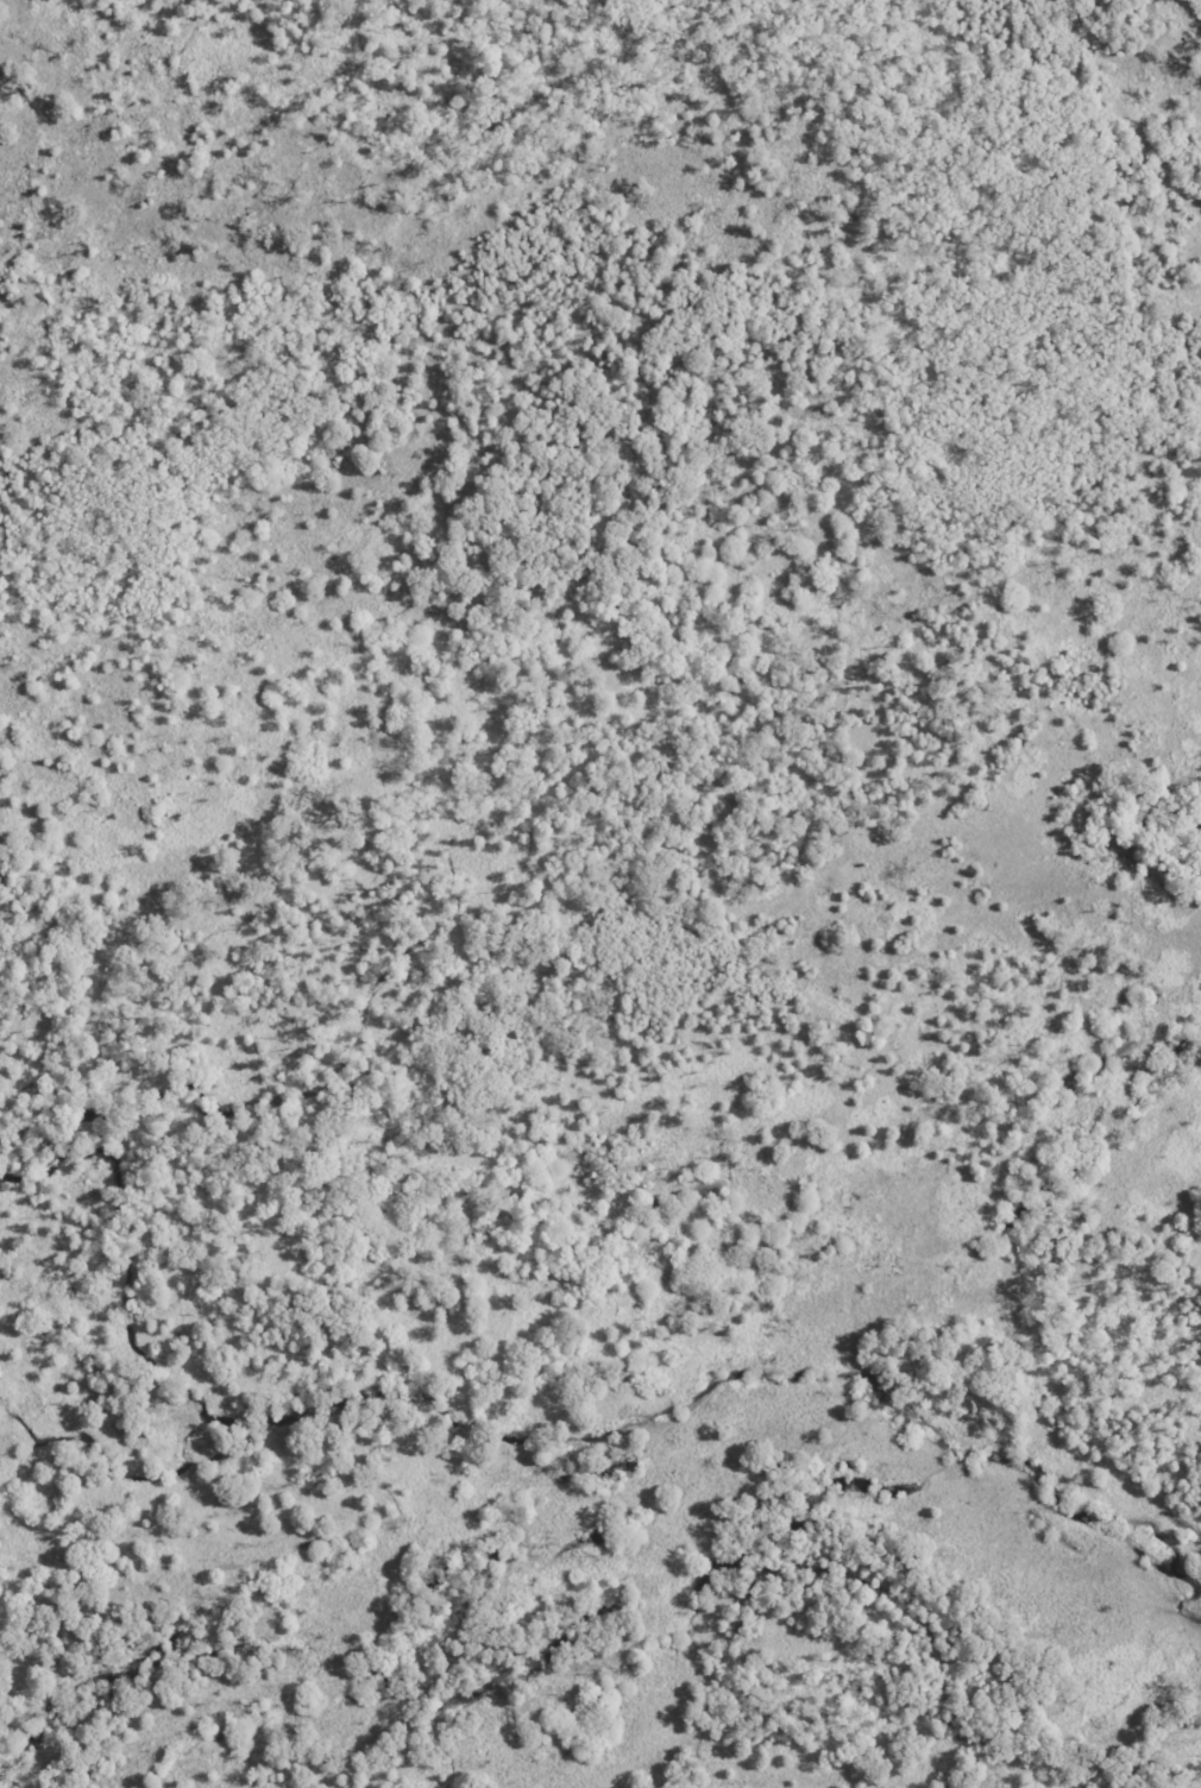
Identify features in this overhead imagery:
road: (360, 1717)

